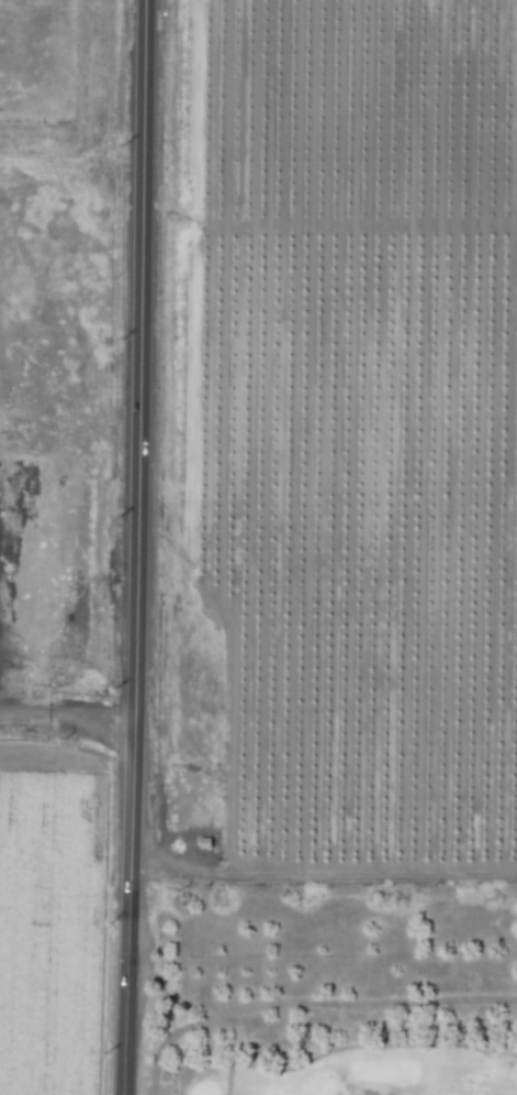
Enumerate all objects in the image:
road: (136, 547)
road: (67, 719)
road: (324, 874)
road: (145, 956)
park: (347, 969)
road: (310, 1002)
road: (358, 1044)
park: (347, 1068)

